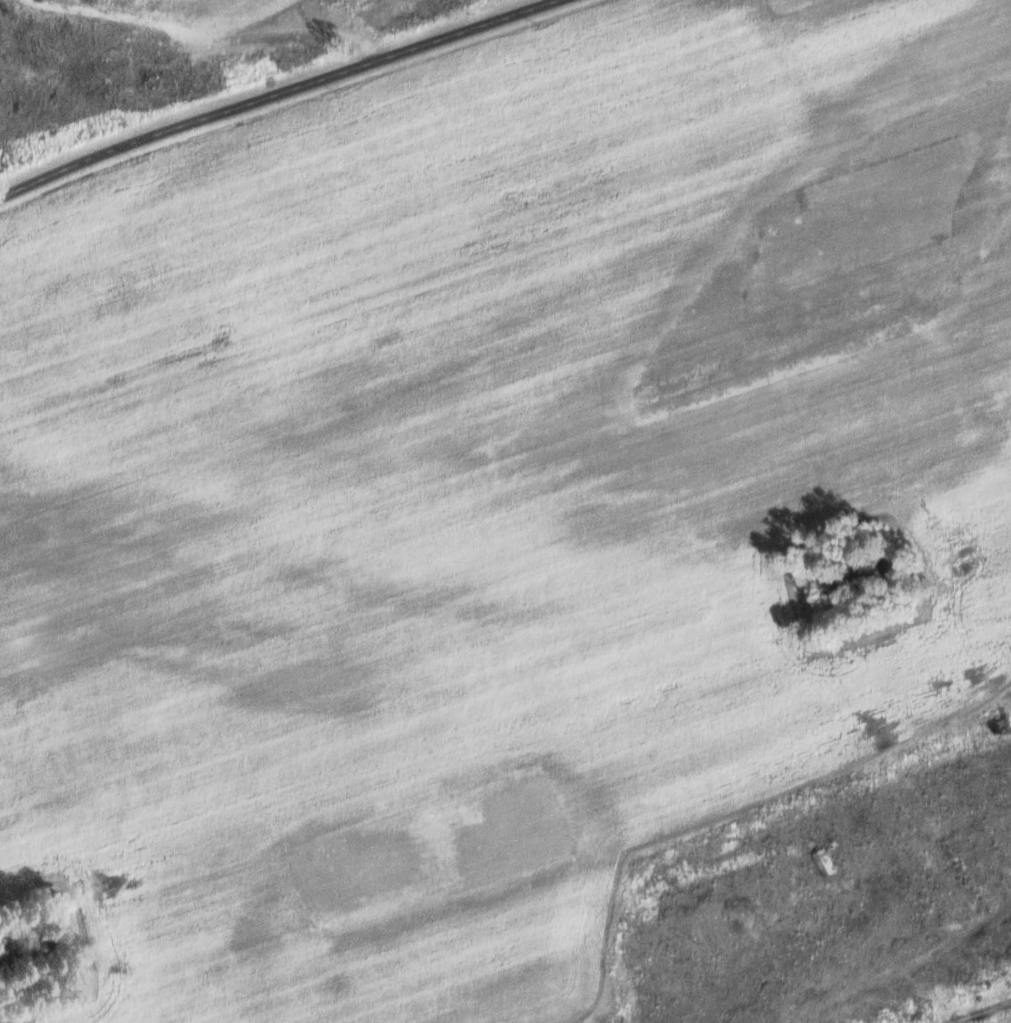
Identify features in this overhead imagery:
road: (276, 94)

